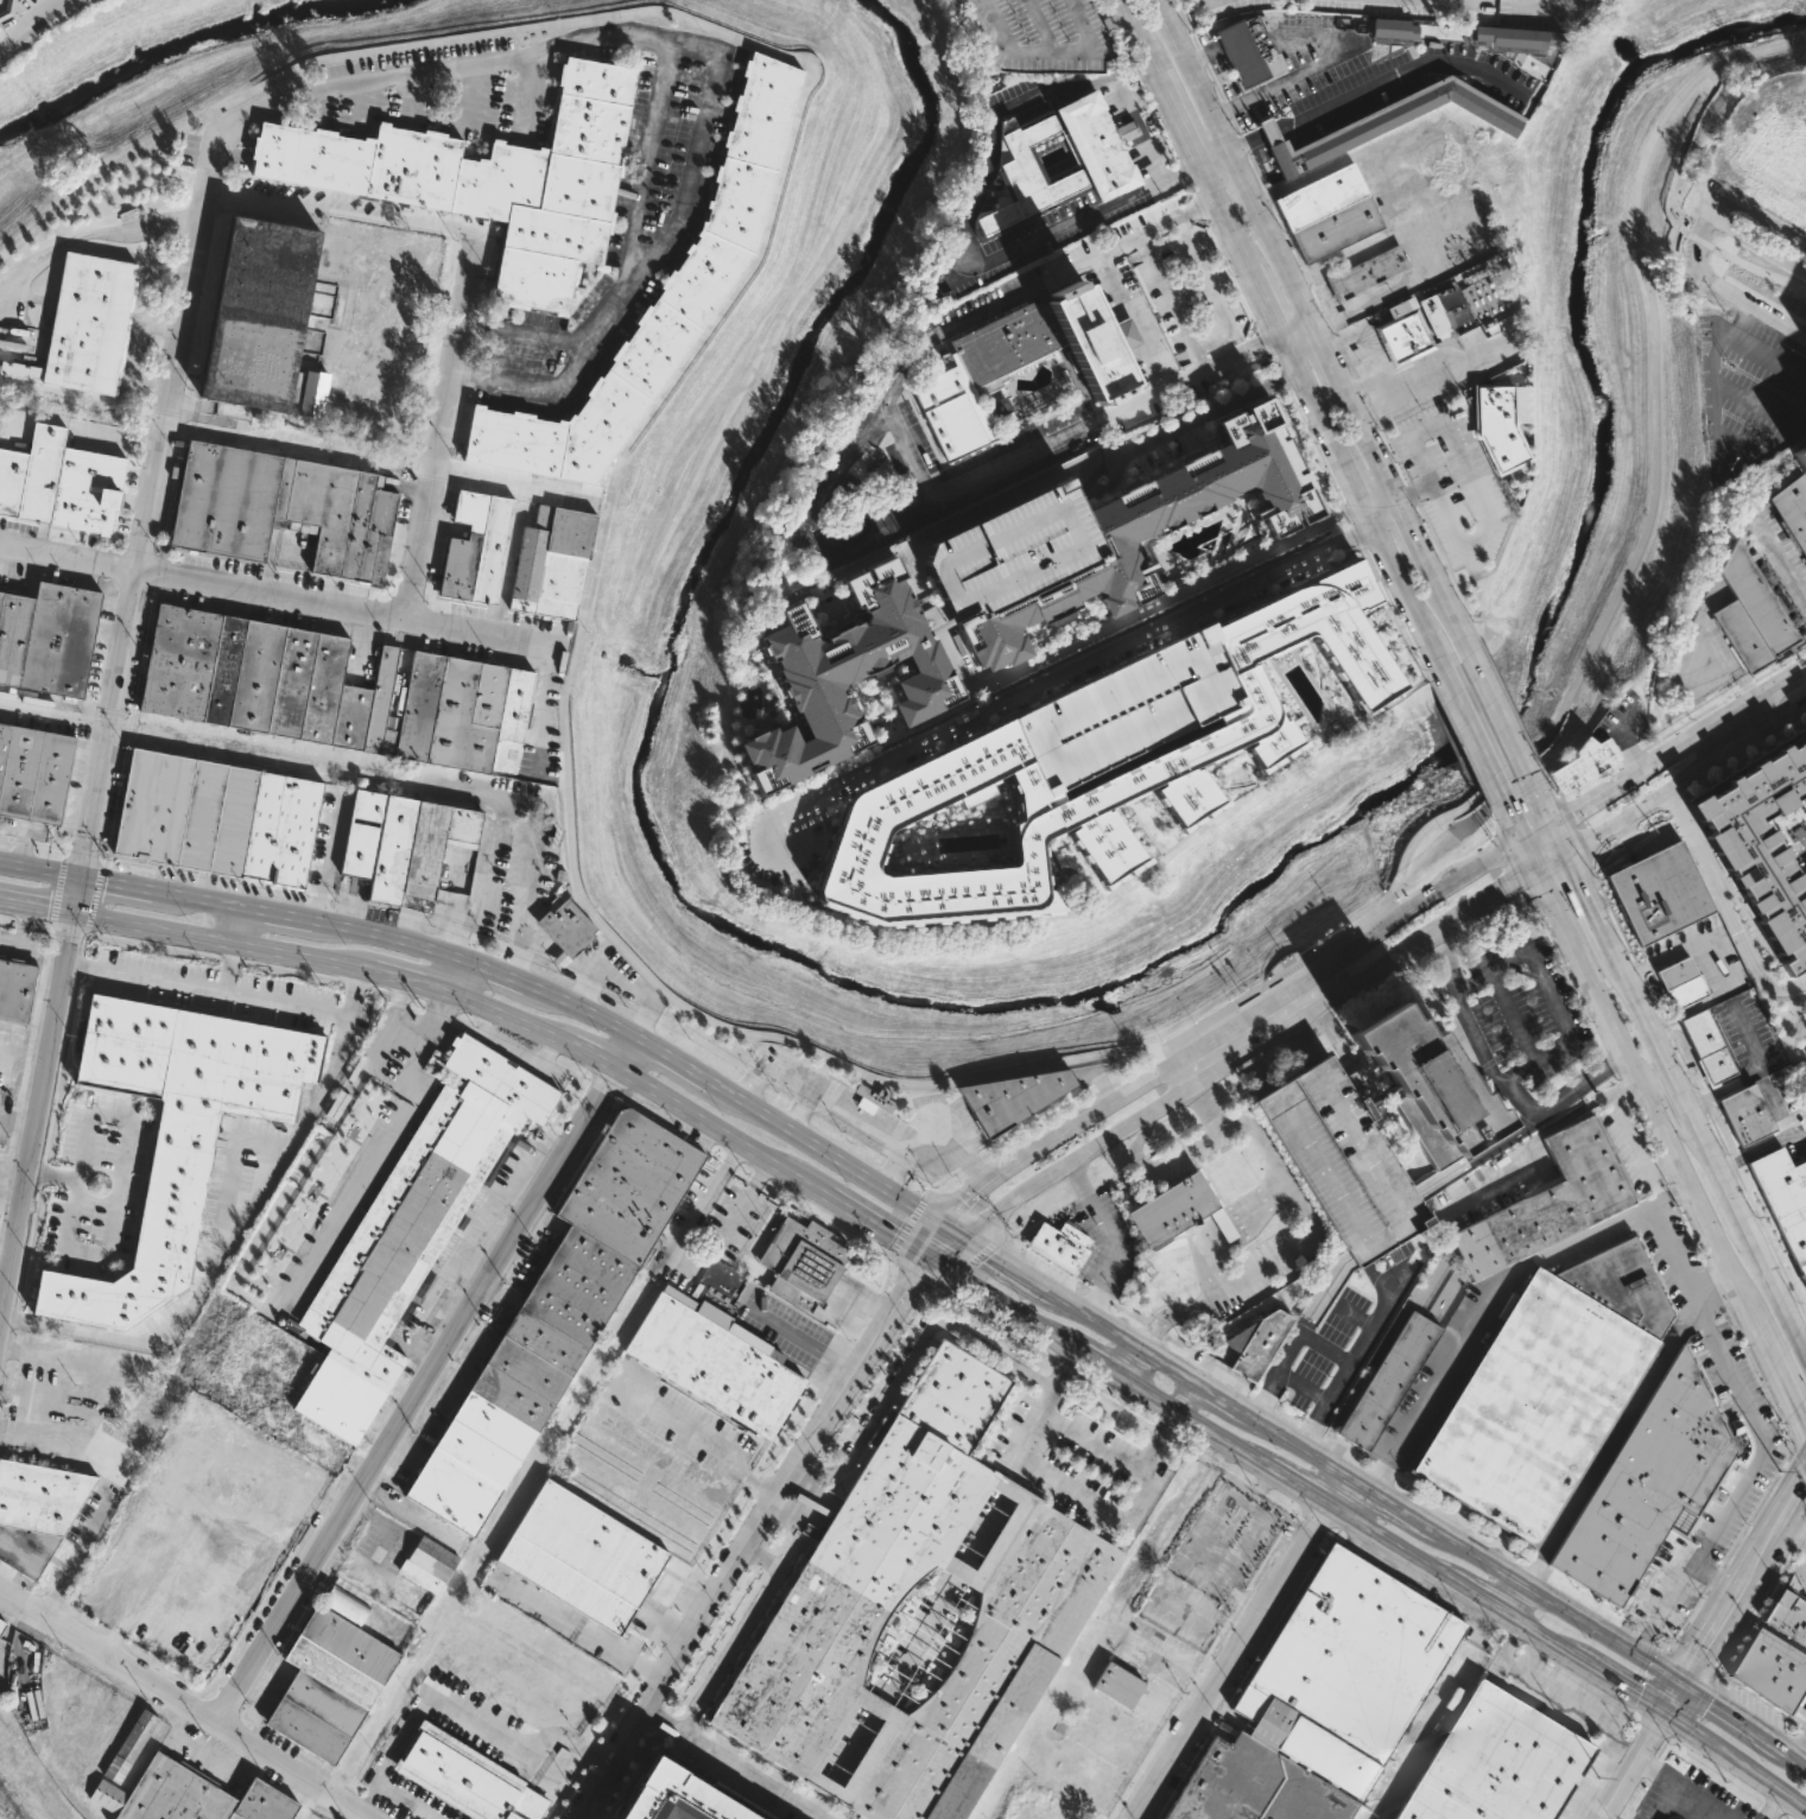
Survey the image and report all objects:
parking lot: (24, 4)
building: (7, 8)
street lamp: (1053, 9)
street lamp: (1014, 13)
road: (1550, 13)
road: (30, 24)
street lamp: (1060, 25)
street lamp: (1021, 26)
road: (1039, 26)
building: (1390, 30)
road: (1119, 31)
building: (1044, 36)
parking garage: (1044, 36)
building: (1517, 37)
street lamp: (1027, 40)
street lamp: (1067, 40)
road: (1198, 50)
building: (1249, 50)
road: (1048, 52)
street lamp: (1037, 61)
street lamp: (1078, 61)
road: (1316, 64)
road: (1138, 70)
road: (1192, 75)
road: (1398, 75)
road: (1120, 91)
road: (527, 96)
road: (473, 99)
road: (316, 100)
road: (405, 103)
road: (359, 108)
road: (1227, 108)
road: (1160, 118)
building: (1394, 122)
road: (1235, 126)
building: (1268, 131)
road: (1268, 131)
road: (1246, 142)
road: (1243, 144)
road: (1680, 151)
road: (1213, 157)
road: (1343, 160)
building: (1103, 163)
road: (1152, 164)
road: (1183, 167)
road: (1256, 171)
road: (645, 173)
road: (1241, 178)
building: (488, 179)
road: (1190, 182)
road: (1268, 196)
road: (1199, 203)
road: (342, 205)
building: (1327, 213)
road: (90, 233)
road: (964, 233)
road: (1287, 234)
road: (1743, 235)
road: (1166, 241)
road: (1377, 241)
road: (1699, 242)
road: (1462, 261)
road: (1284, 266)
road: (1075, 267)
road: (1232, 270)
road: (1760, 271)
building: (1367, 272)
road: (1305, 274)
road: (1209, 284)
road: (1317, 297)
road: (1742, 298)
building: (658, 300)
road: (1171, 302)
road: (1120, 308)
building: (251, 313)
building: (1432, 317)
road: (1135, 319)
road: (1326, 319)
building: (78, 324)
road: (1280, 329)
road: (1297, 330)
road: (1335, 331)
building: (1403, 334)
road: (8, 335)
road: (1123, 335)
road: (1343, 337)
road: (1265, 340)
road: (1338, 341)
road: (1213, 343)
road: (133, 349)
road: (1140, 349)
road: (1325, 354)
building: (1024, 362)
road: (1275, 362)
road: (1348, 362)
road: (1433, 362)
road: (1659, 362)
parking lot: (1184, 378)
road: (1284, 381)
road: (1360, 385)
road: (532, 386)
building: (309, 393)
road: (1364, 397)
building: (1000, 407)
road: (1371, 410)
road: (898, 413)
road: (1715, 416)
building: (1502, 423)
road: (444, 425)
road: (1054, 438)
road: (1367, 441)
road: (1316, 450)
road: (1392, 450)
building: (1798, 454)
road: (839, 469)
road: (1063, 469)
road: (1086, 480)
building: (57, 482)
parking lot: (1452, 484)
road: (1108, 488)
road: (1414, 490)
road: (1412, 493)
road: (1476, 494)
road: (1380, 507)
building: (278, 508)
road: (1510, 508)
building: (1792, 511)
building: (1157, 526)
road: (1351, 526)
road: (1412, 533)
road: (597, 535)
building: (474, 547)
building: (1010, 551)
parking garage: (1010, 551)
building: (550, 560)
road: (1783, 566)
road: (1449, 570)
parking lot: (1228, 573)
road: (825, 579)
road: (277, 595)
road: (1446, 607)
building: (1751, 613)
road: (1139, 614)
road: (940, 615)
road: (1393, 617)
road: (1179, 625)
building: (938, 627)
road: (938, 628)
building: (45, 639)
road: (1729, 660)
building: (847, 673)
road: (1056, 676)
road: (1779, 679)
building: (325, 690)
road: (1509, 704)
road: (1028, 705)
road: (56, 708)
building: (1127, 708)
parking garage: (1127, 708)
road: (1762, 714)
road: (1501, 720)
road: (1789, 720)
road: (1681, 725)
road: (1471, 733)
road: (1696, 733)
road: (1623, 740)
building: (989, 743)
road: (1460, 744)
road: (1732, 754)
road: (838, 762)
building: (1584, 762)
building: (33, 774)
road: (1503, 774)
road: (1550, 786)
road: (1693, 790)
road: (1595, 796)
road: (1545, 807)
building: (215, 818)
road: (1630, 818)
road: (1529, 819)
road: (1514, 822)
traffic signals: (1552, 824)
road: (1538, 831)
road: (1147, 832)
building: (362, 835)
road: (1576, 835)
road: (1496, 837)
traffic signals: (1523, 839)
road: (1559, 841)
building: (1761, 847)
building: (414, 850)
road: (1532, 857)
traffic signals: (1567, 858)
road: (325, 862)
road: (1553, 867)
road: (40, 872)
road: (1513, 873)
traffic signals: (1540, 875)
traffic signals: (82, 880)
road: (1128, 880)
road: (122, 887)
road: (481, 887)
road: (1559, 887)
road: (528, 889)
building: (1659, 894)
road: (78, 898)
road: (201, 902)
road: (1393, 902)
road: (38, 908)
road: (1726, 909)
traffic signals: (76, 917)
road: (277, 918)
building: (564, 926)
road: (236, 927)
road: (1360, 927)
road: (384, 937)
road: (226, 943)
road: (537, 947)
road: (1320, 953)
road: (559, 958)
road: (228, 969)
road: (487, 969)
road: (449, 977)
building: (1680, 983)
road: (411, 984)
building: (14, 988)
road: (582, 989)
road: (628, 989)
road: (232, 995)
road: (1310, 995)
road: (1548, 995)
road: (579, 1009)
road: (1228, 1016)
road: (503, 1020)
road: (1229, 1026)
road: (1295, 1029)
road: (1474, 1034)
road: (417, 1045)
building: (1706, 1047)
road: (1343, 1048)
road: (628, 1053)
road: (1152, 1054)
road: (590, 1056)
road: (1253, 1056)
road: (673, 1060)
road: (1230, 1063)
road: (1260, 1064)
road: (1753, 1072)
road: (1183, 1075)
road: (1654, 1079)
road: (1578, 1088)
building: (1426, 1089)
road: (1624, 1090)
road: (1697, 1094)
building: (1008, 1097)
road: (1646, 1097)
building: (874, 1098)
road: (1686, 1110)
building: (1745, 1115)
road: (39, 1120)
road: (722, 1132)
building: (172, 1134)
road: (1759, 1148)
road: (824, 1152)
road: (1471, 1158)
building: (1341, 1162)
parking garage: (1341, 1162)
road: (1153, 1167)
road: (51, 1177)
road: (351, 1193)
road: (709, 1196)
building: (1558, 1198)
building: (1785, 1199)
road: (743, 1204)
road: (1257, 1204)
building: (1172, 1210)
road: (971, 1216)
traffic signals: (940, 1219)
parking lot: (731, 1222)
road: (907, 1224)
building: (1222, 1225)
road: (1222, 1225)
road: (876, 1227)
traffic signals: (967, 1235)
road: (1109, 1236)
road: (1318, 1236)
road: (933, 1238)
building: (403, 1240)
building: (1060, 1247)
road: (101, 1251)
road: (1680, 1253)
road: (223, 1254)
road: (1000, 1257)
traffic signals: (927, 1259)
building: (800, 1261)
road: (1208, 1261)
road: (972, 1262)
road: (892, 1266)
parking lot: (1048, 1269)
road: (904, 1284)
road: (1485, 1292)
road: (1722, 1293)
road: (930, 1294)
road: (995, 1299)
road: (1357, 1317)
building: (546, 1327)
road: (784, 1330)
road: (1127, 1337)
road: (1298, 1337)
road: (924, 1342)
building: (1256, 1345)
road: (1326, 1350)
road: (1360, 1355)
road: (1092, 1362)
road: (1133, 1364)
building: (715, 1365)
road: (1779, 1375)
road: (1075, 1378)
building: (1388, 1382)
building: (1546, 1387)
road: (1304, 1388)
road: (416, 1394)
road: (1217, 1394)
road: (1183, 1395)
road: (1617, 1421)
road: (1193, 1424)
road: (835, 1427)
road: (1799, 1428)
road: (1293, 1441)
road: (702, 1443)
road: (1103, 1449)
road: (1029, 1450)
road: (1800, 1462)
building: (1646, 1483)
road: (1007, 1488)
road: (1304, 1494)
railway: (514, 1496)
road: (1356, 1503)
road: (1394, 1504)
road: (1102, 1506)
building: (34, 1510)
road: (983, 1528)
road: (1795, 1533)
road: (753, 1538)
road: (712, 1546)
road: (1402, 1553)
road: (78, 1554)
building: (578, 1555)
road: (958, 1570)
building: (1037, 1584)
road: (1510, 1595)
road: (1479, 1597)
road: (1735, 1598)
road: (1664, 1606)
road: (1564, 1608)
building: (1788, 1615)
road: (668, 1624)
building: (1, 1625)
road: (582, 1630)
road: (742, 1633)
road: (1544, 1635)
road: (918, 1639)
road: (1240, 1647)
road: (1728, 1655)
building: (1346, 1671)
building: (1772, 1672)
road: (1177, 1673)
building: (328, 1675)
traffic signals: (1683, 1682)
building: (1117, 1684)
road: (683, 1687)
road: (1627, 1687)
road: (1555, 1694)
road: (186, 1705)
road: (1437, 1705)
road: (877, 1706)
road: (1719, 1709)
traffic signals: (1666, 1712)
road: (458, 1722)
railway: (1427, 1741)
building: (127, 1745)
road: (1799, 1747)
road: (853, 1748)
road: (1781, 1751)
building: (1497, 1762)
road: (1736, 1763)
road: (735, 1764)
road: (1635, 1766)
railway: (45, 1767)
road: (1662, 1774)
building: (463, 1776)
building: (1254, 1786)
road: (829, 1789)
building: (184, 1796)
building: (676, 1796)
road: (1683, 1799)
road: (308, 1801)
park: (13, 1802)
road: (819, 1804)
road: (399, 1807)
road: (1773, 1807)

